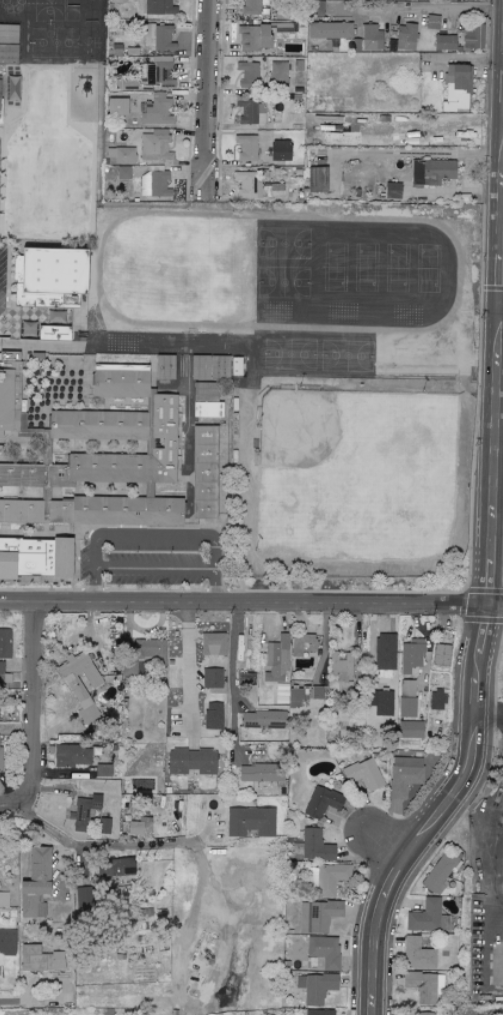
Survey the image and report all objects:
building: (117, 0)
building: (158, 6)
building: (251, 7)
building: (324, 8)
road: (420, 10)
building: (432, 21)
building: (279, 27)
building: (329, 30)
building: (8, 34)
building: (371, 35)
building: (473, 36)
building: (158, 37)
building: (253, 37)
building: (405, 37)
building: (444, 42)
building: (8, 53)
building: (156, 71)
building: (278, 73)
building: (247, 74)
building: (456, 87)
road: (205, 103)
building: (116, 106)
building: (250, 111)
building: (156, 112)
building: (154, 146)
building: (246, 147)
building: (279, 150)
building: (121, 155)
building: (431, 171)
building: (122, 173)
building: (316, 179)
building: (153, 184)
building: (247, 185)
building: (275, 190)
building: (392, 190)
building: (50, 278)
road: (501, 308)
building: (55, 317)
building: (52, 333)
building: (235, 366)
building: (164, 367)
building: (208, 367)
building: (119, 381)
road: (496, 382)
building: (204, 391)
building: (9, 392)
building: (206, 409)
building: (97, 425)
building: (95, 467)
building: (203, 471)
park: (353, 476)
building: (115, 511)
road: (155, 538)
building: (35, 557)
road: (154, 568)
road: (251, 608)
building: (212, 644)
building: (302, 644)
building: (150, 651)
building: (384, 651)
building: (4, 652)
building: (441, 654)
building: (411, 655)
building: (277, 659)
building: (342, 666)
road: (188, 671)
building: (211, 678)
building: (81, 684)
road: (233, 684)
building: (436, 700)
building: (294, 701)
road: (33, 704)
building: (406, 707)
building: (212, 716)
road: (490, 717)
building: (263, 719)
building: (409, 729)
building: (71, 755)
building: (0, 757)
building: (191, 761)
building: (102, 770)
building: (260, 773)
building: (364, 774)
building: (404, 775)
road: (15, 802)
building: (321, 802)
road: (502, 808)
building: (83, 812)
road: (435, 813)
building: (249, 822)
building: (103, 826)
building: (139, 827)
road: (498, 836)
road: (390, 838)
road: (102, 845)
building: (311, 847)
building: (114, 866)
building: (438, 872)
building: (326, 878)
building: (35, 883)
building: (81, 895)
building: (3, 899)
building: (318, 915)
building: (427, 917)
building: (7, 940)
road: (488, 949)
building: (324, 950)
building: (417, 954)
building: (40, 958)
building: (502, 975)
building: (423, 985)
building: (315, 986)
road: (33, 1002)
building: (319, 1012)
building: (424, 1013)

